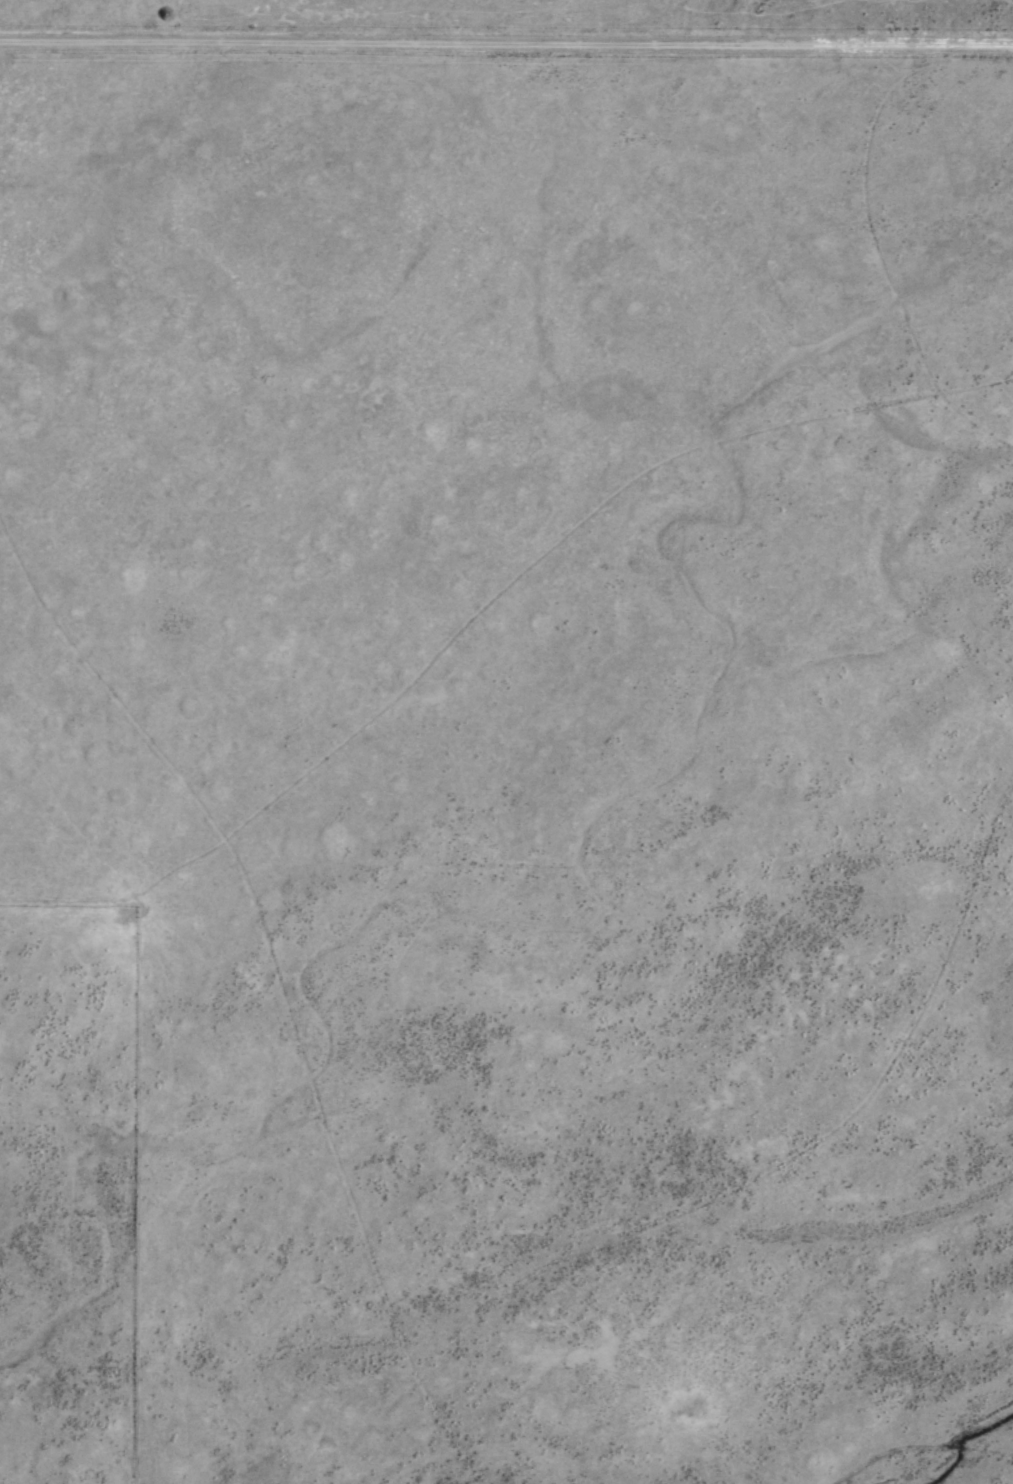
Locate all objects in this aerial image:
road: (506, 33)
crop: (506, 742)

